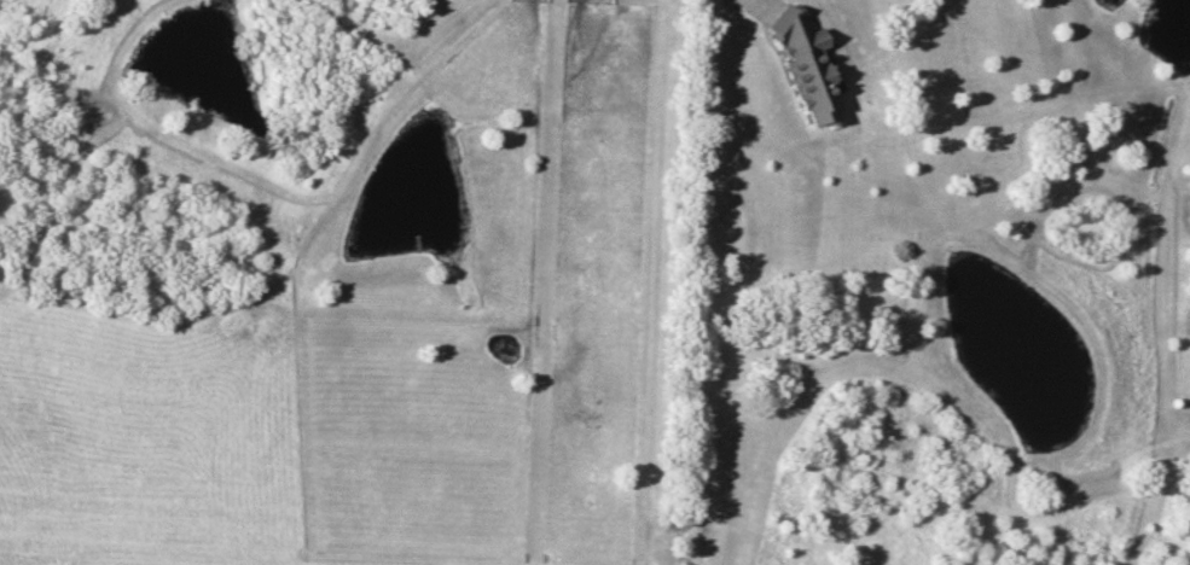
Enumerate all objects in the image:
building: (806, 65)
road: (731, 281)

